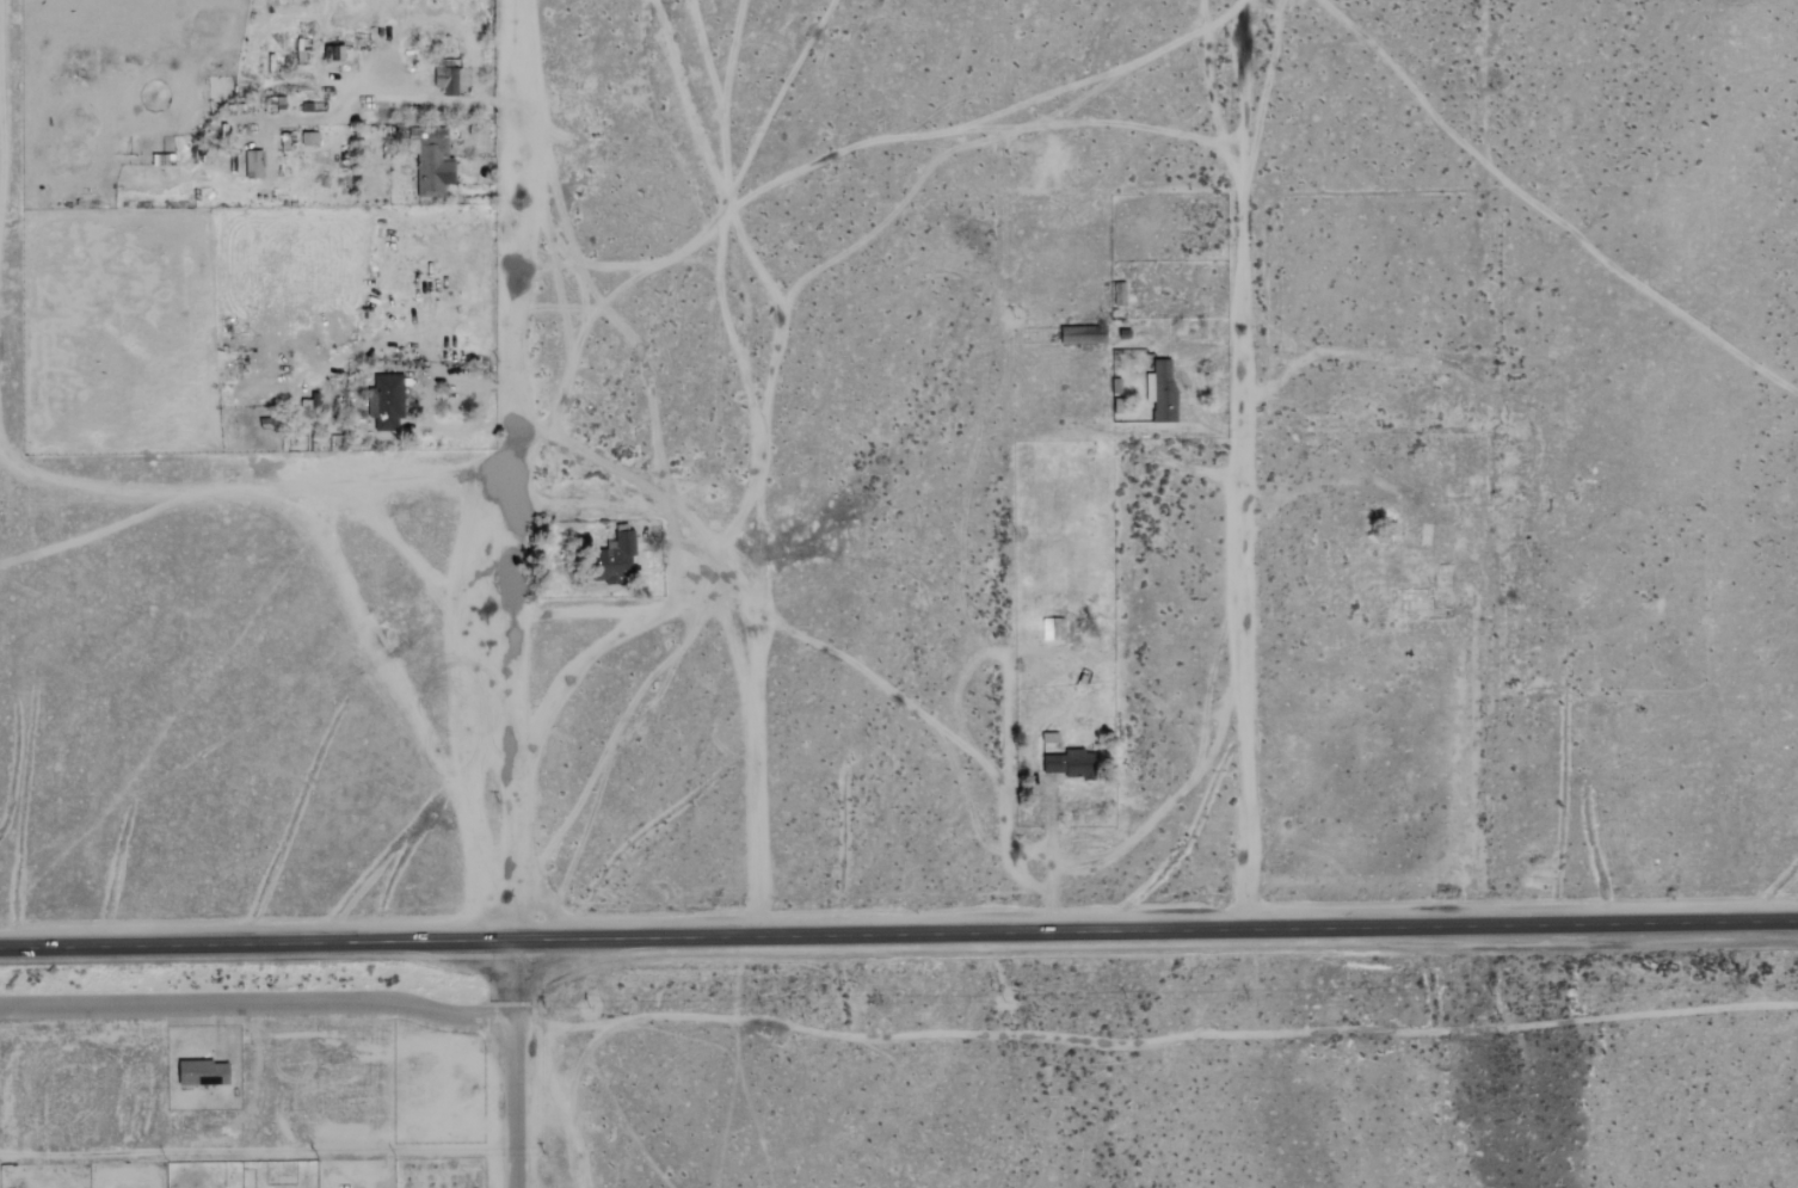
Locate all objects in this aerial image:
building: (279, 105)
building: (310, 139)
building: (254, 162)
building: (435, 168)
building: (1120, 294)
building: (1083, 334)
road: (460, 381)
building: (1163, 389)
building: (387, 401)
road: (1244, 449)
road: (509, 450)
road: (713, 556)
building: (620, 559)
building: (1053, 628)
building: (1051, 738)
building: (1071, 764)
road: (1004, 805)
road: (1243, 913)
road: (512, 921)
road: (898, 934)
road: (255, 1004)
road: (512, 1063)
building: (204, 1072)

